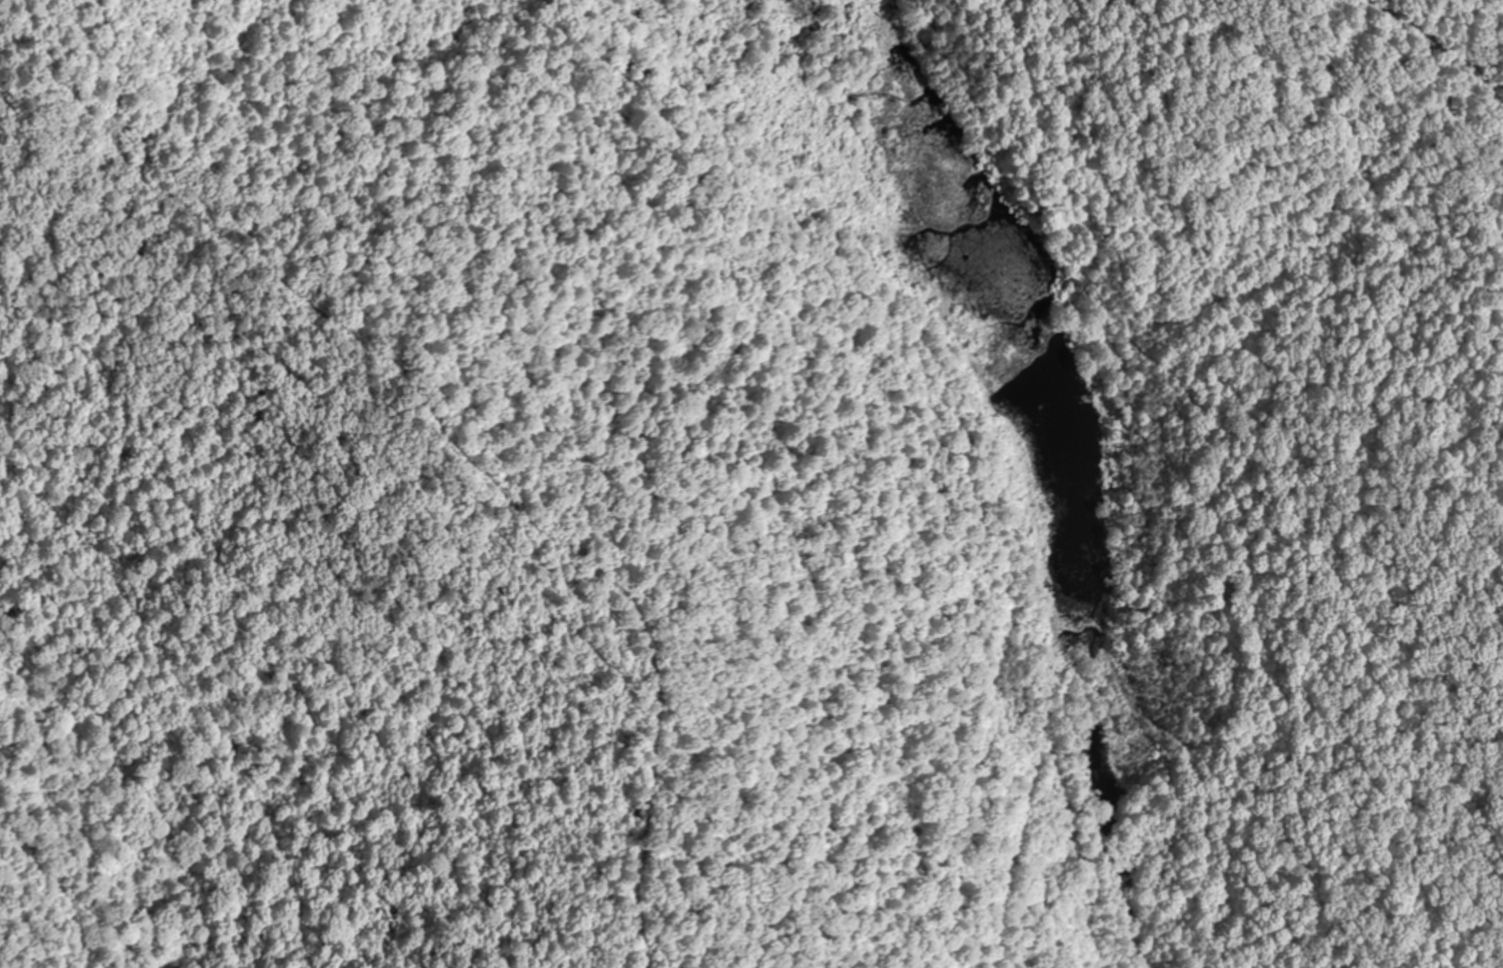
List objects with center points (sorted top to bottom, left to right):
road: (1464, 57)

